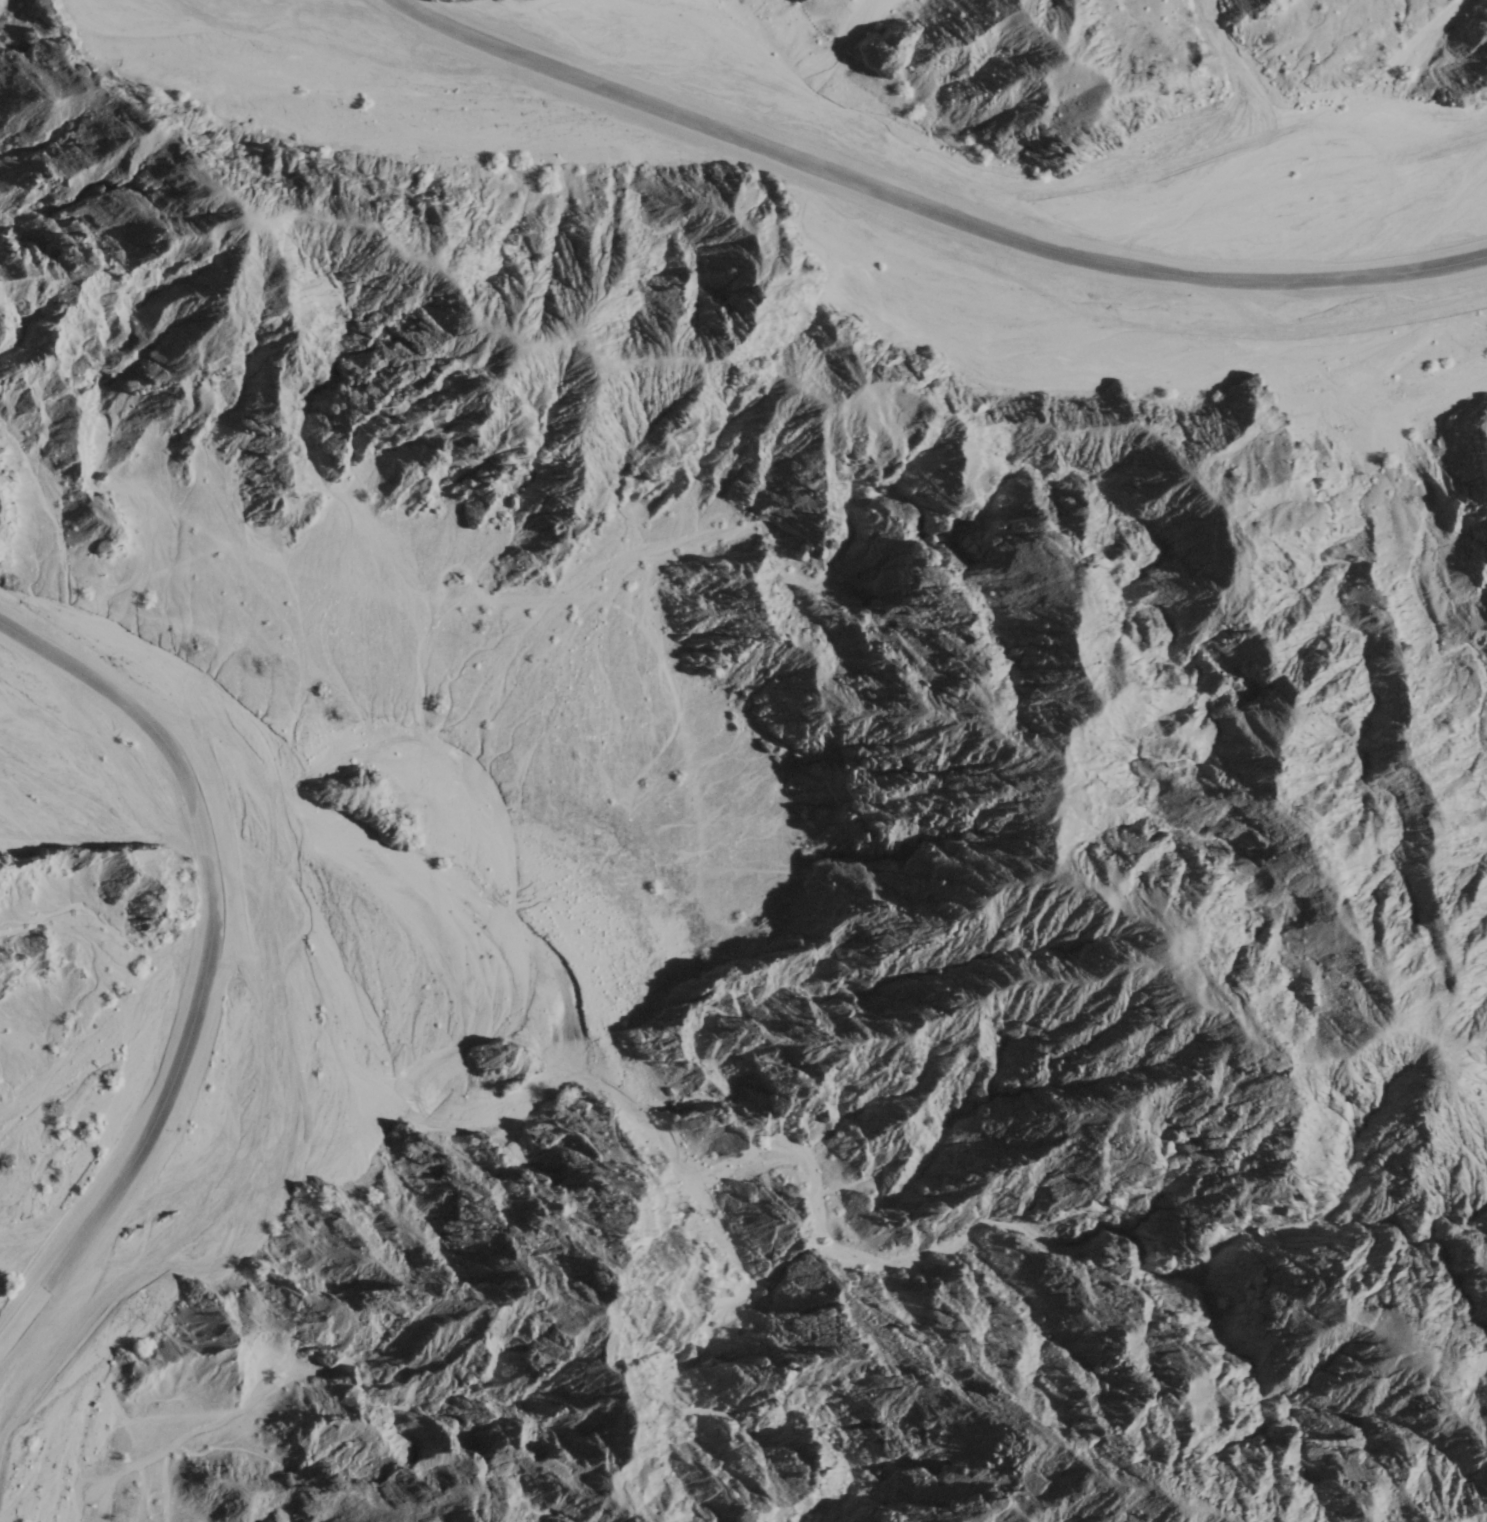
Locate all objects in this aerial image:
road: (928, 205)
road: (208, 964)

